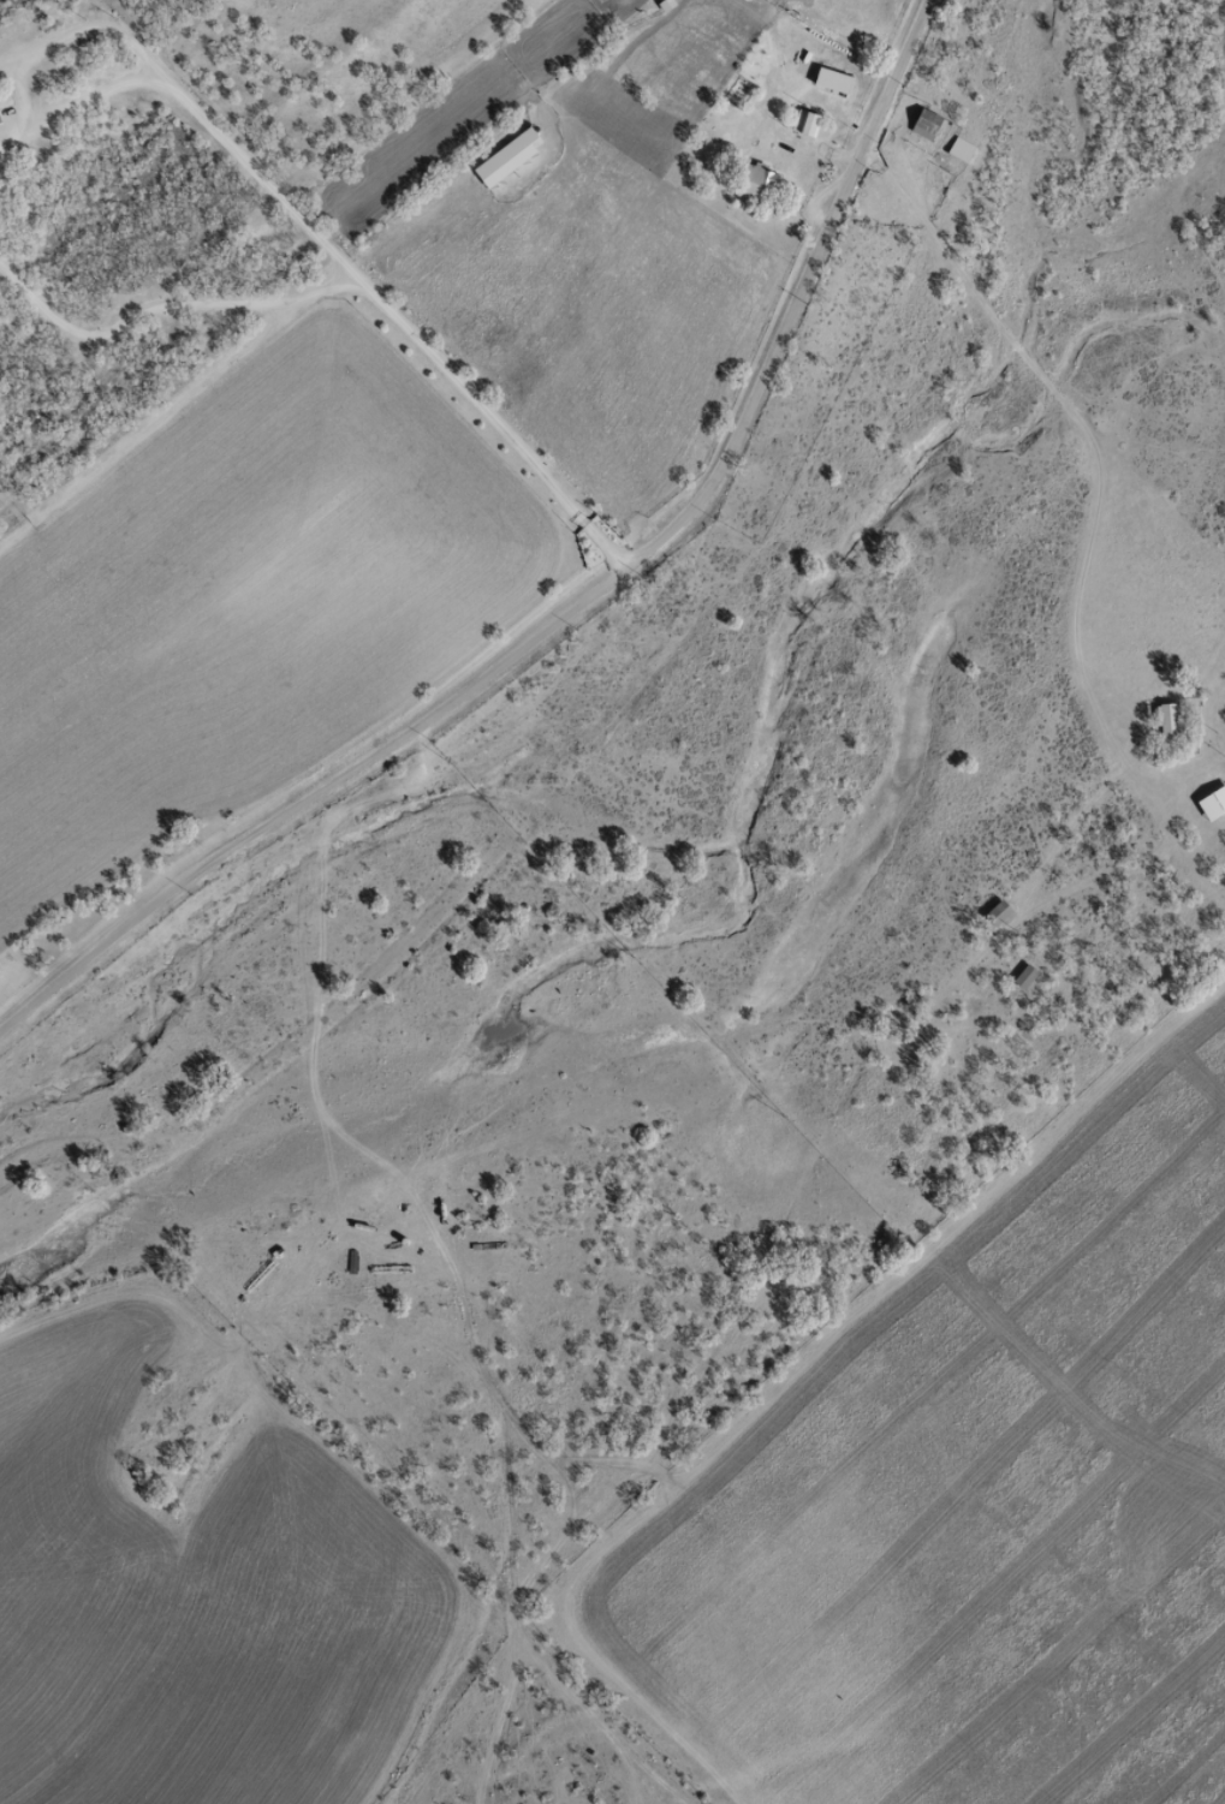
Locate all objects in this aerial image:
road: (87, 26)
building: (832, 82)
building: (0, 121)
building: (804, 123)
building: (924, 124)
building: (959, 150)
building: (506, 157)
building: (756, 181)
railway: (293, 237)
road: (331, 254)
road: (162, 303)
road: (572, 606)
building: (1167, 719)
building: (1211, 800)
building: (997, 912)
building: (1024, 976)
crop: (979, 1504)
crop: (190, 1597)

